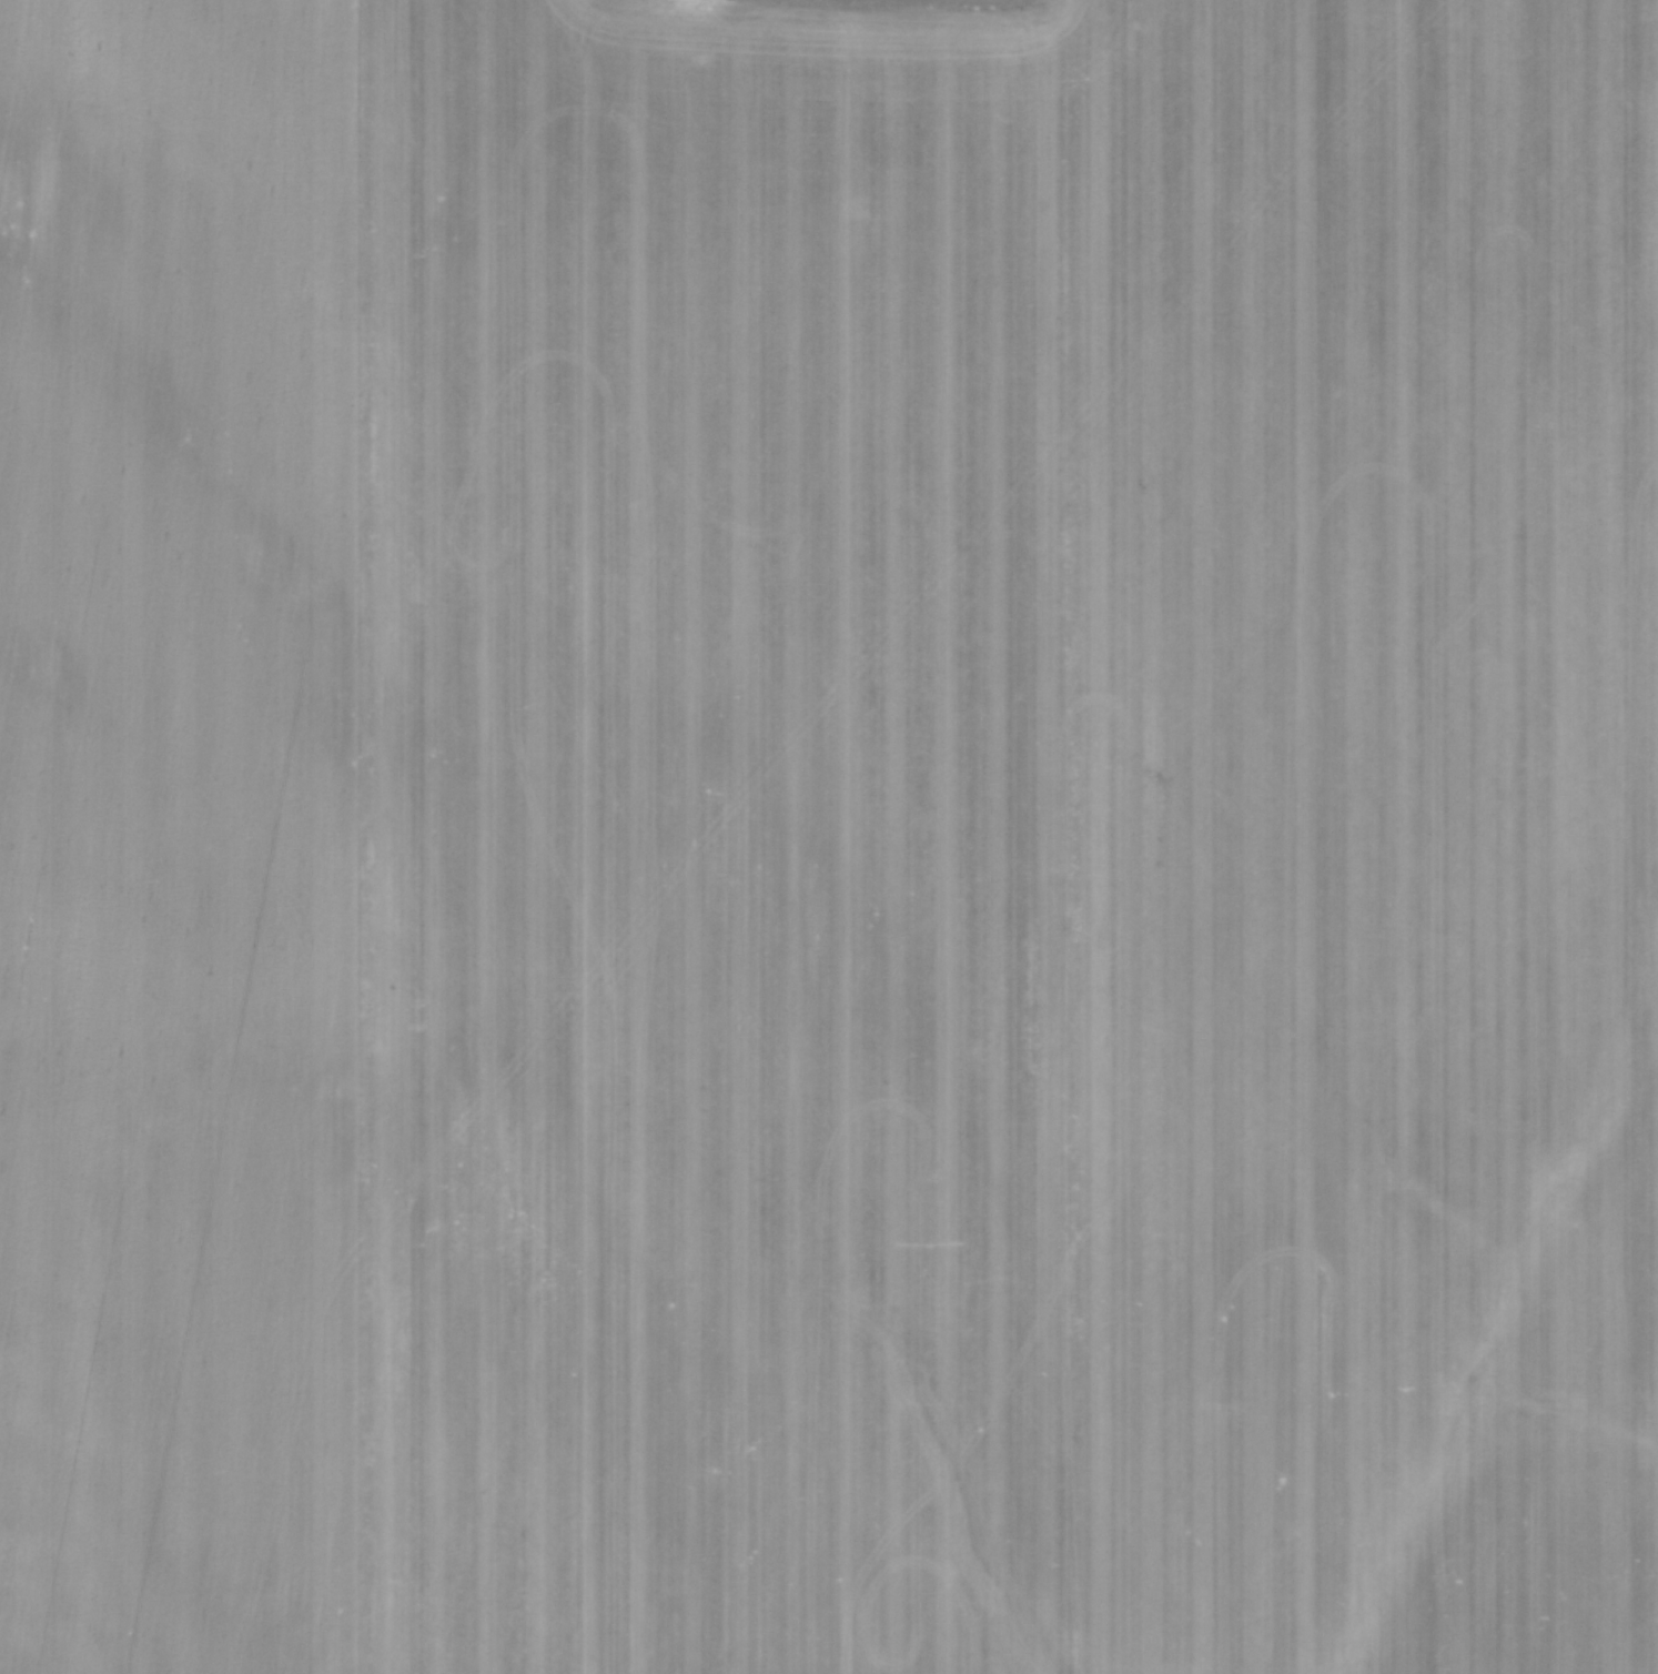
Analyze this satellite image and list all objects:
crop: (829, 837)

